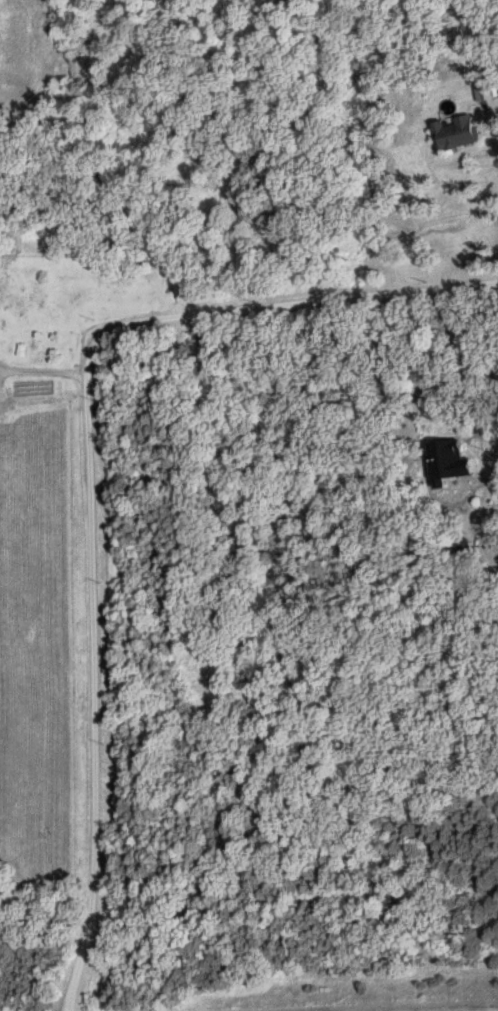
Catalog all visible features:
building: (478, 92)
building: (449, 133)
road: (44, 365)
building: (442, 460)
road: (89, 472)

